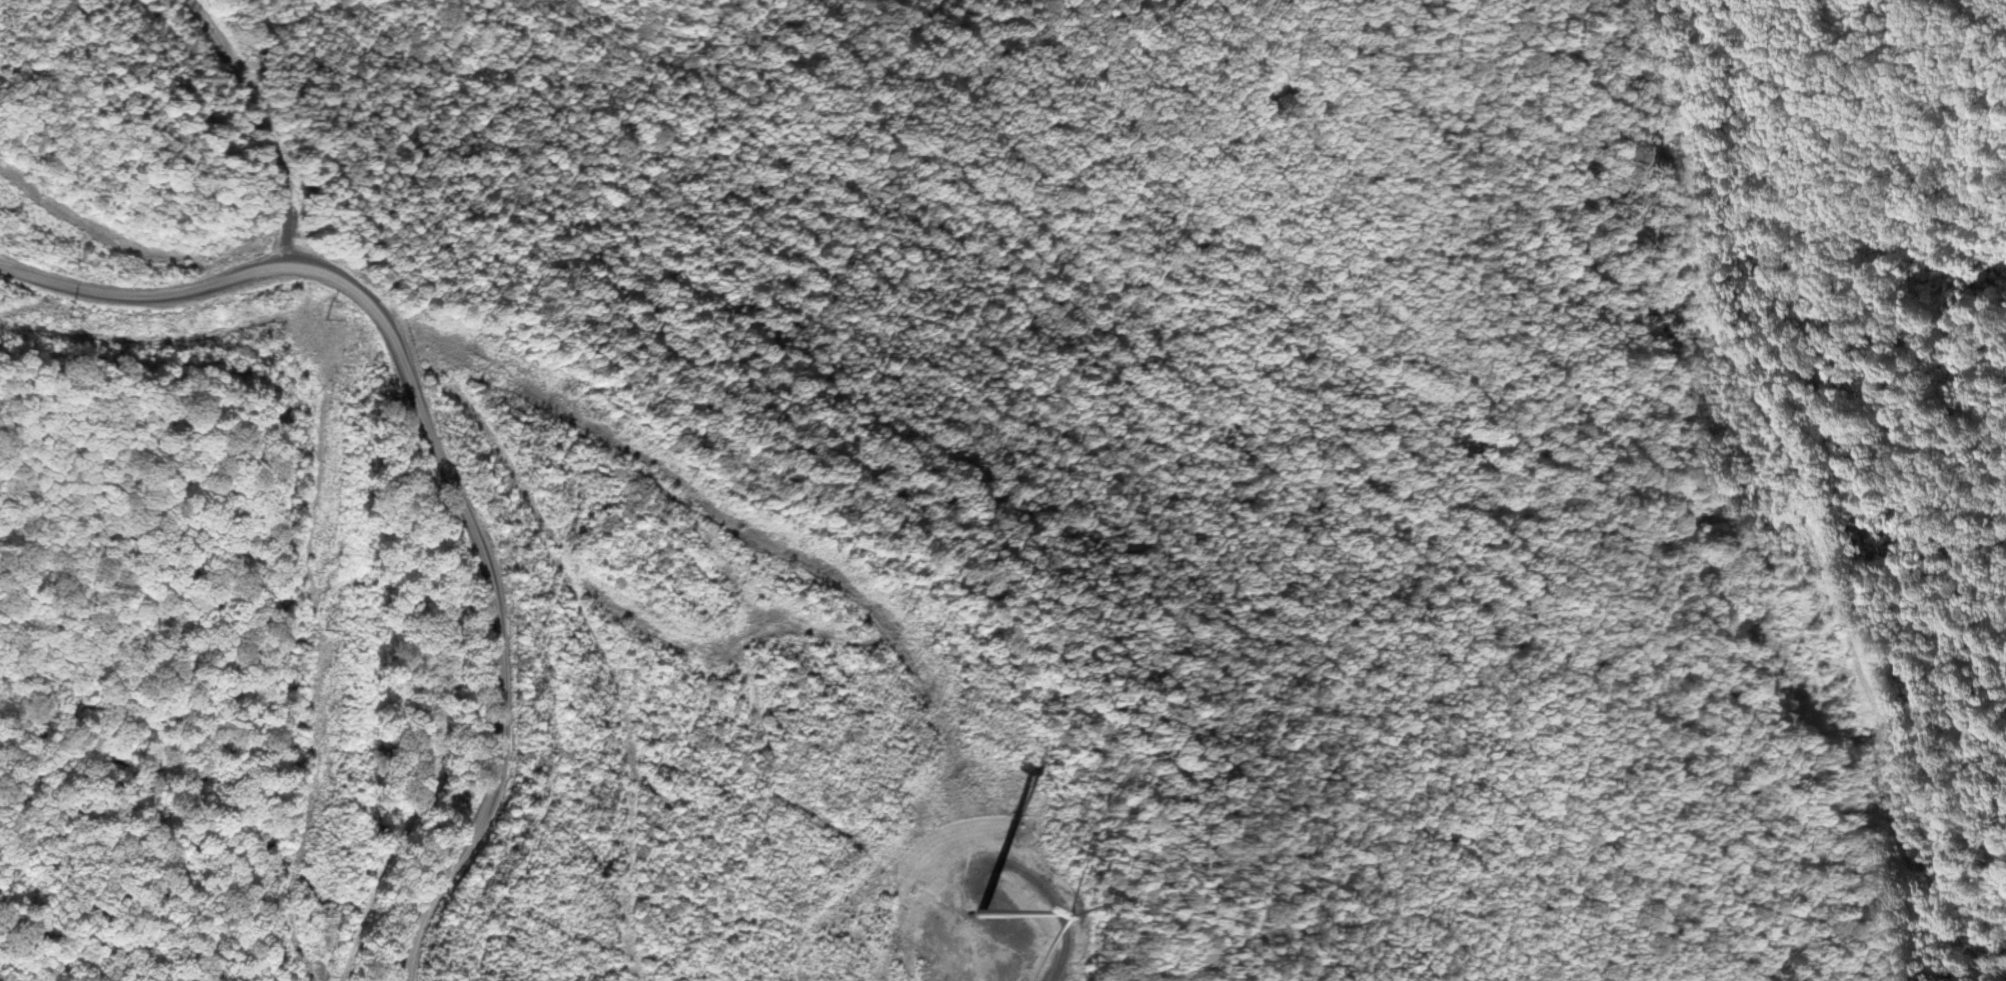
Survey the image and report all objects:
road: (291, 146)
road: (1832, 426)
road: (500, 455)
wind turbine: (983, 912)

